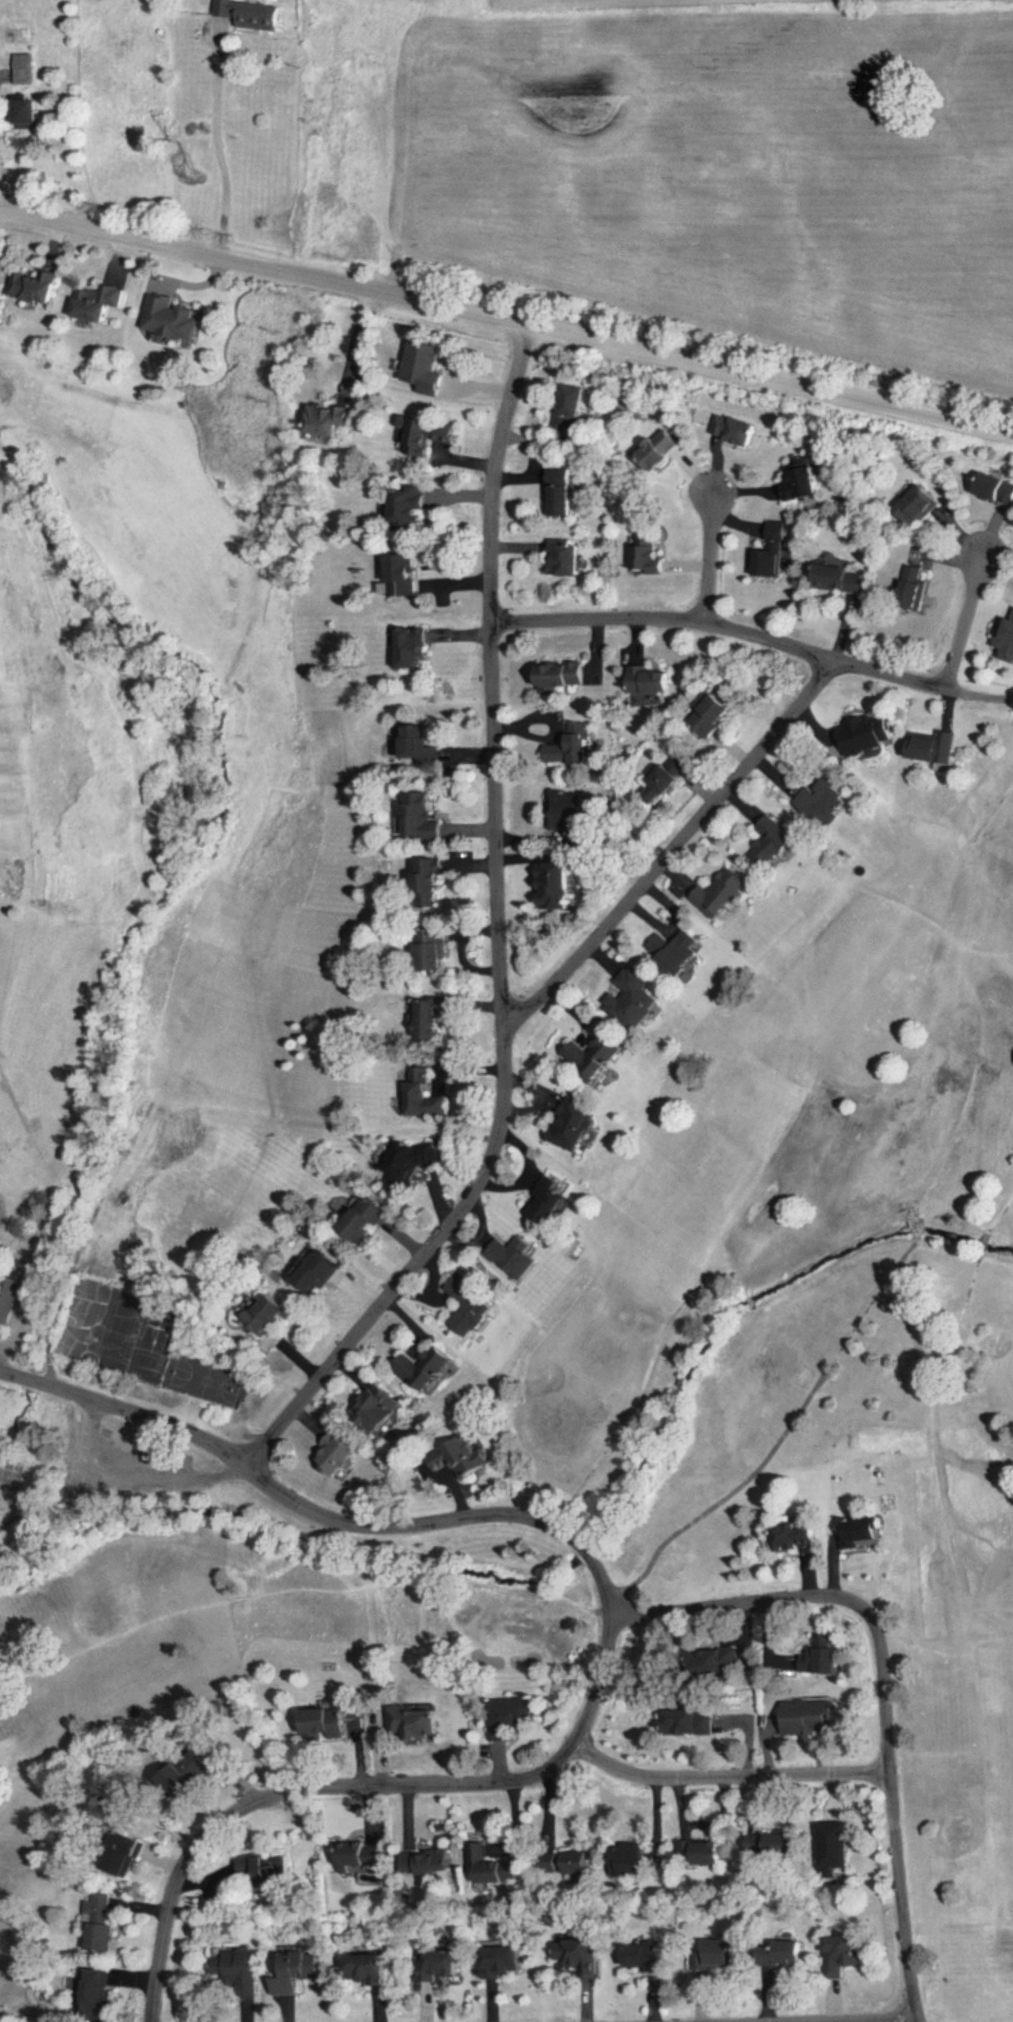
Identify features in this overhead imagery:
building: (255, 13)
building: (26, 68)
building: (32, 109)
road: (219, 151)
building: (35, 285)
building: (100, 301)
building: (174, 316)
road: (506, 323)
road: (353, 342)
building: (426, 366)
building: (574, 409)
building: (330, 418)
building: (736, 429)
building: (427, 434)
building: (667, 453)
building: (804, 479)
building: (998, 487)
building: (562, 491)
building: (919, 506)
building: (412, 507)
building: (773, 550)
building: (644, 552)
building: (567, 556)
road: (712, 560)
building: (405, 574)
building: (840, 578)
building: (917, 585)
road: (962, 619)
road: (755, 635)
building: (1011, 638)
building: (413, 647)
building: (563, 676)
building: (651, 680)
road: (1011, 700)
building: (711, 713)
building: (867, 732)
building: (579, 743)
building: (421, 745)
building: (934, 745)
building: (670, 779)
building: (825, 801)
building: (570, 810)
building: (423, 816)
building: (776, 842)
road: (675, 853)
building: (432, 883)
building: (558, 886)
building: (726, 894)
road: (501, 937)
building: (431, 949)
building: (677, 952)
building: (634, 998)
building: (430, 1017)
building: (594, 1050)
building: (424, 1093)
building: (574, 1125)
park: (814, 1150)
building: (410, 1162)
building: (549, 1200)
building: (363, 1219)
building: (518, 1258)
building: (314, 1269)
building: (8, 1298)
building: (473, 1302)
building: (269, 1317)
park: (112, 1331)
building: (428, 1368)
park: (198, 1381)
building: (382, 1410)
building: (340, 1454)
building: (465, 1455)
building: (862, 1532)
building: (799, 1535)
road: (612, 1625)
building: (820, 1660)
building: (717, 1662)
road: (888, 1684)
building: (813, 1715)
building: (511, 1716)
building: (416, 1722)
building: (689, 1722)
building: (327, 1723)
road: (732, 1776)
building: (774, 1844)
building: (836, 1845)
building: (701, 1851)
building: (127, 1853)
building: (357, 1855)
building: (632, 1858)
building: (578, 1862)
building: (429, 1863)
building: (492, 1866)
building: (264, 1870)
building: (102, 1925)
building: (821, 1951)
building: (721, 1954)
building: (578, 1955)
building: (645, 1956)
building: (504, 1962)
building: (439, 1966)
building: (240, 1969)
building: (369, 1970)
building: (295, 1973)
building: (95, 1995)
road: (886, 2021)

